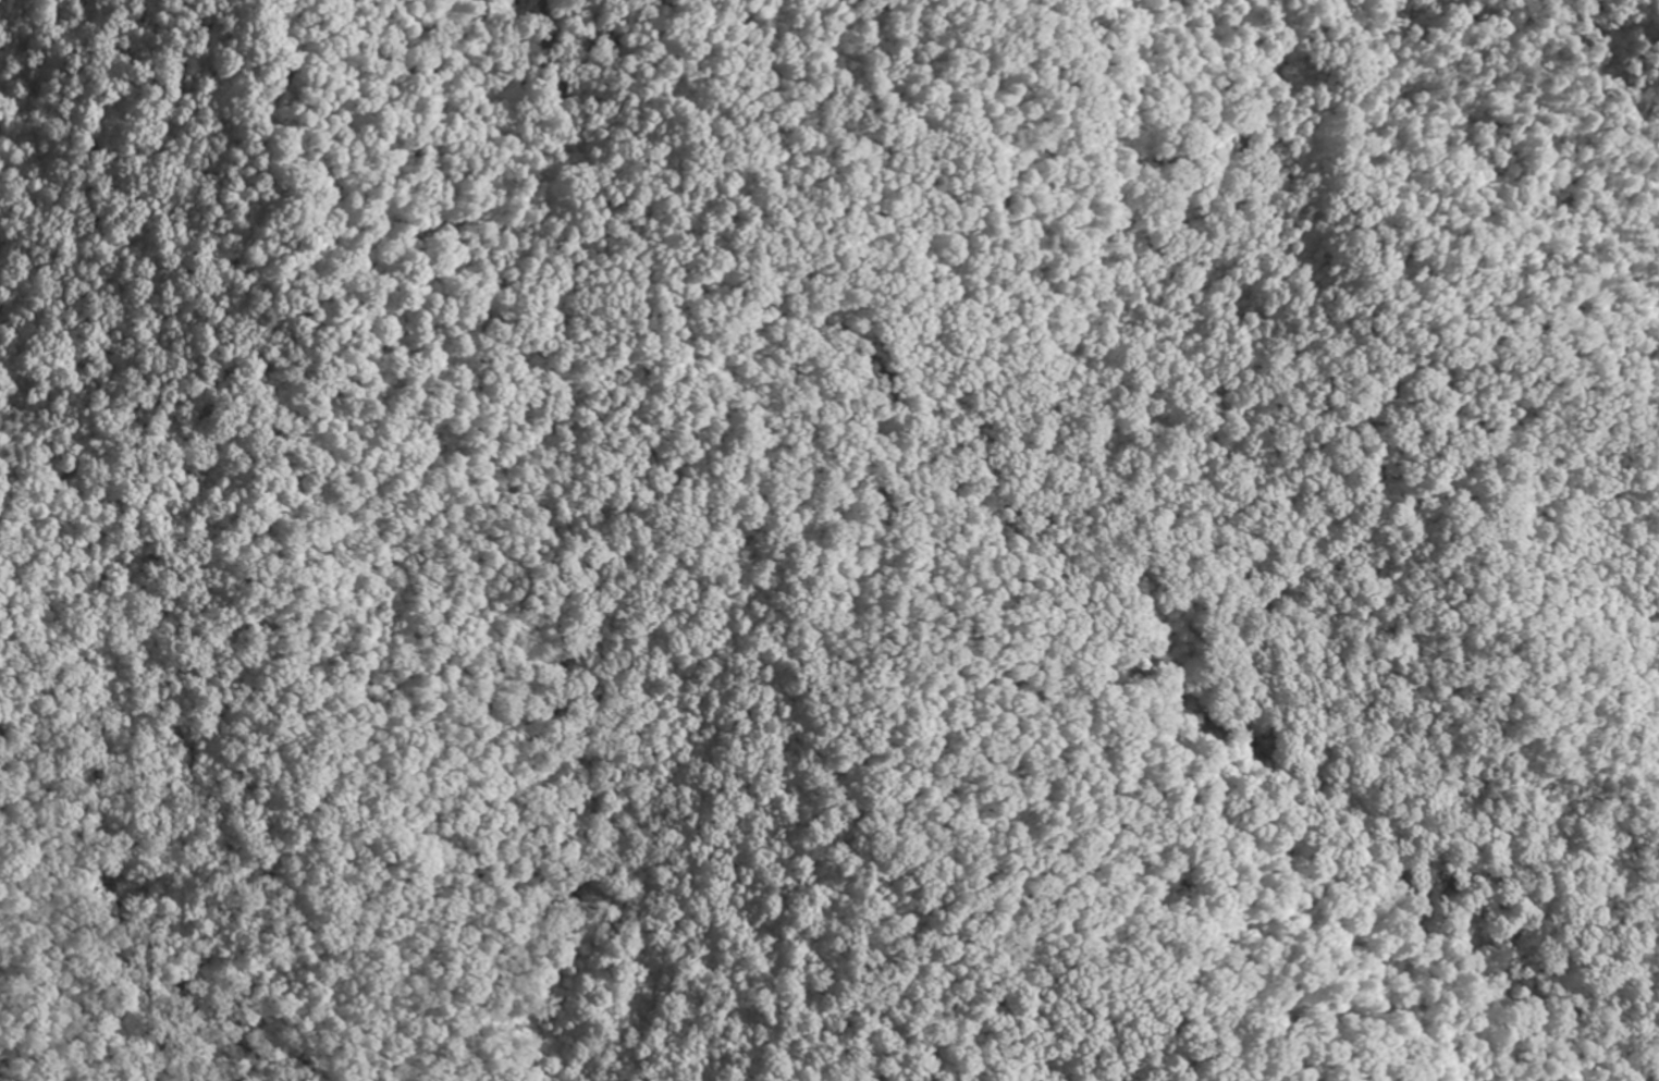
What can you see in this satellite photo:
park: (1554, 28)

